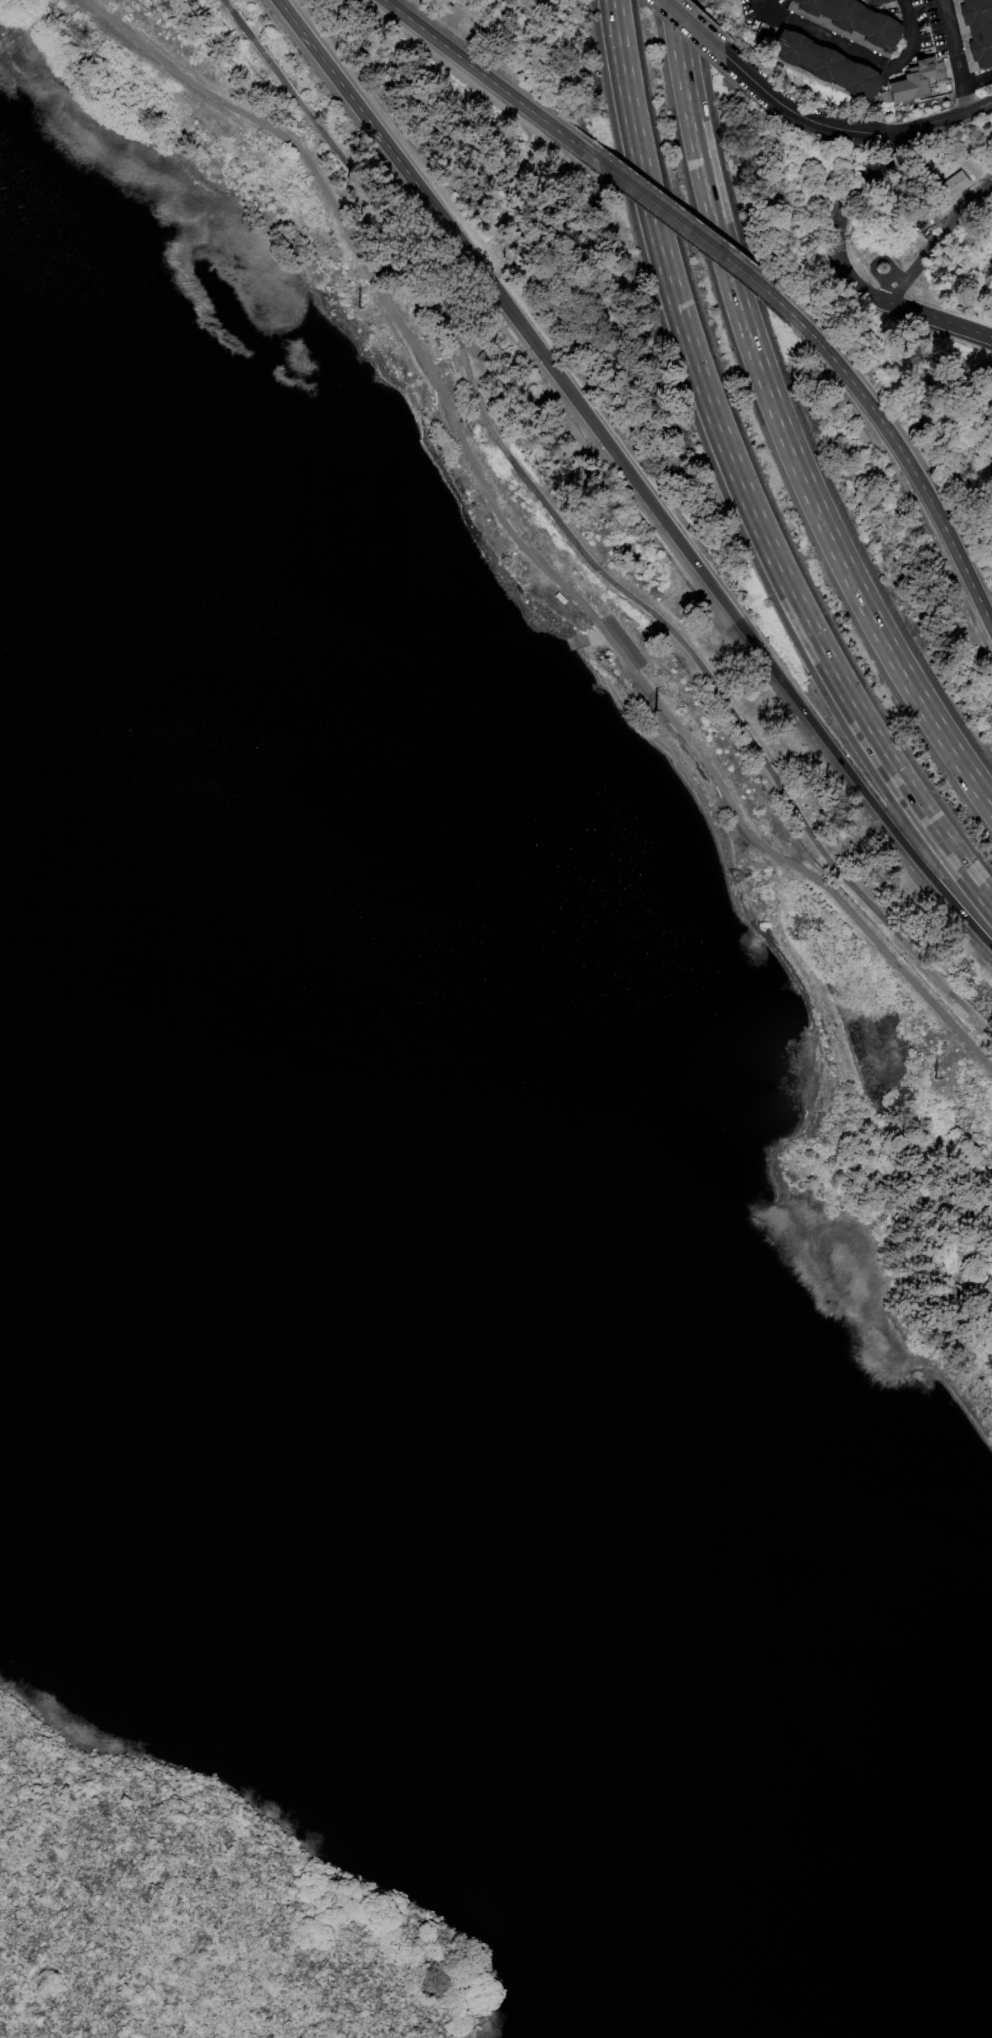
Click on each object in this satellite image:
building: (875, 2)
road: (290, 17)
building: (845, 22)
road: (692, 27)
building: (975, 31)
road: (823, 38)
road: (910, 38)
road: (954, 43)
building: (817, 64)
road: (483, 75)
building: (912, 80)
road: (978, 82)
road: (965, 101)
road: (249, 116)
road: (806, 118)
road: (952, 118)
road: (378, 133)
road: (862, 177)
building: (953, 184)
road: (694, 236)
road: (932, 237)
road: (898, 305)
power tower: (357, 307)
road: (780, 424)
wastewater plant: (959, 424)
road: (911, 468)
road: (738, 479)
road: (574, 543)
road: (717, 594)
road: (580, 641)
road: (651, 693)
power tower: (654, 710)
power tower: (933, 1077)

